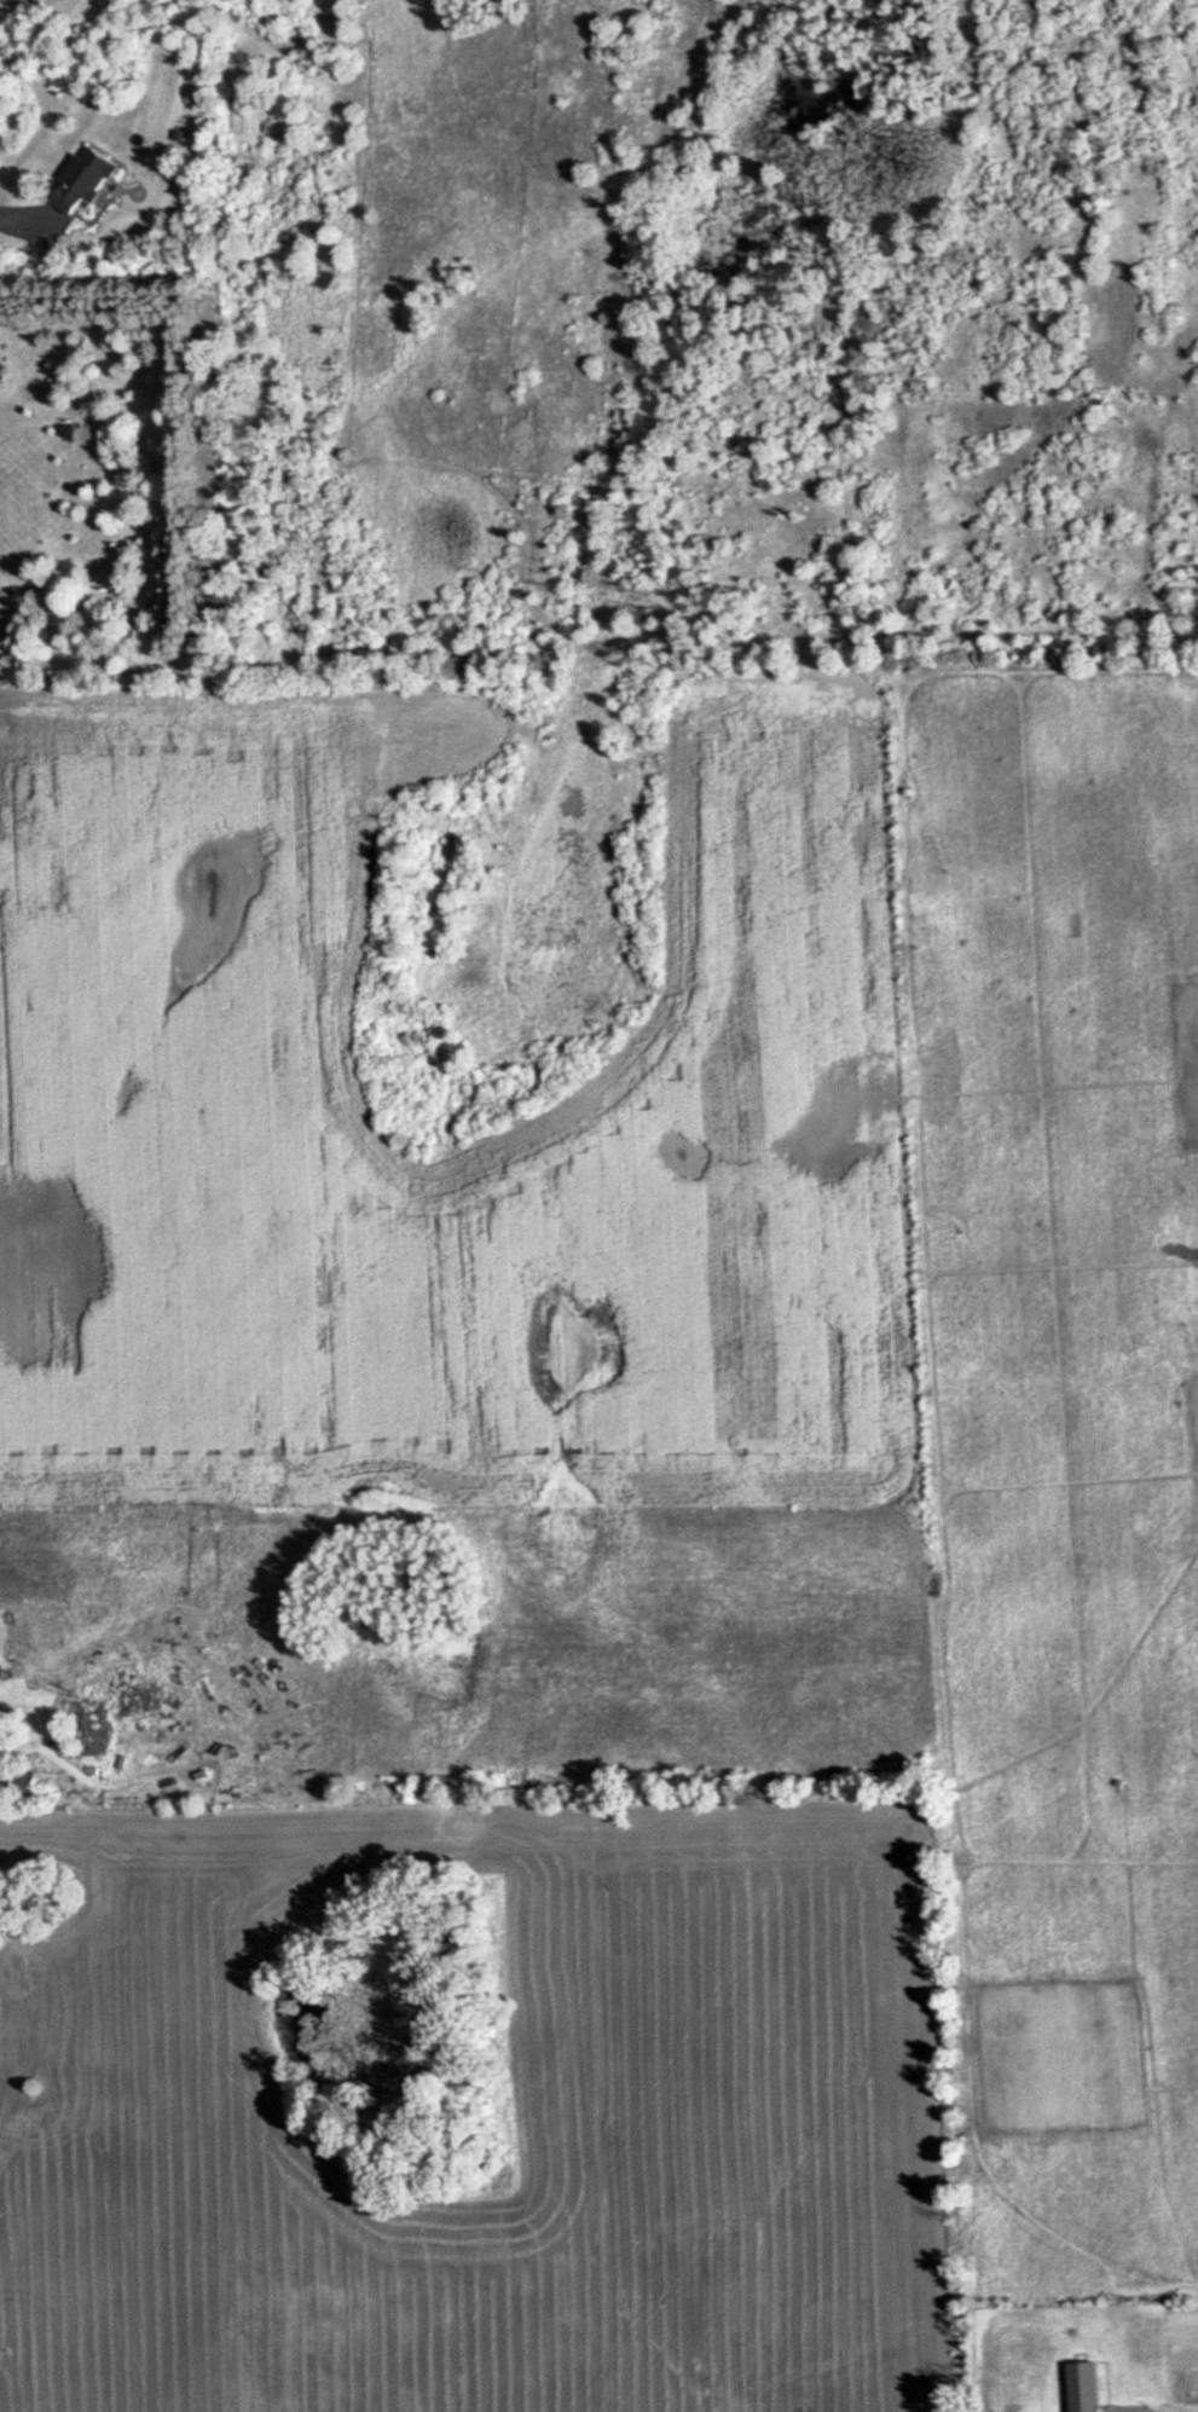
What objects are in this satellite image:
building: (76, 181)
road: (16, 225)
building: (108, 1714)
building: (15, 1785)
building: (1080, 2388)

